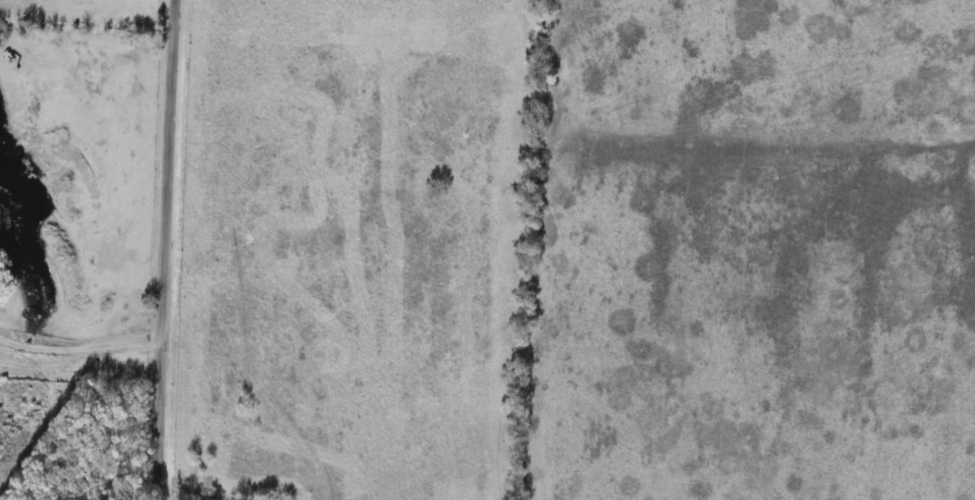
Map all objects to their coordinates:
road: (161, 249)
road: (78, 346)

